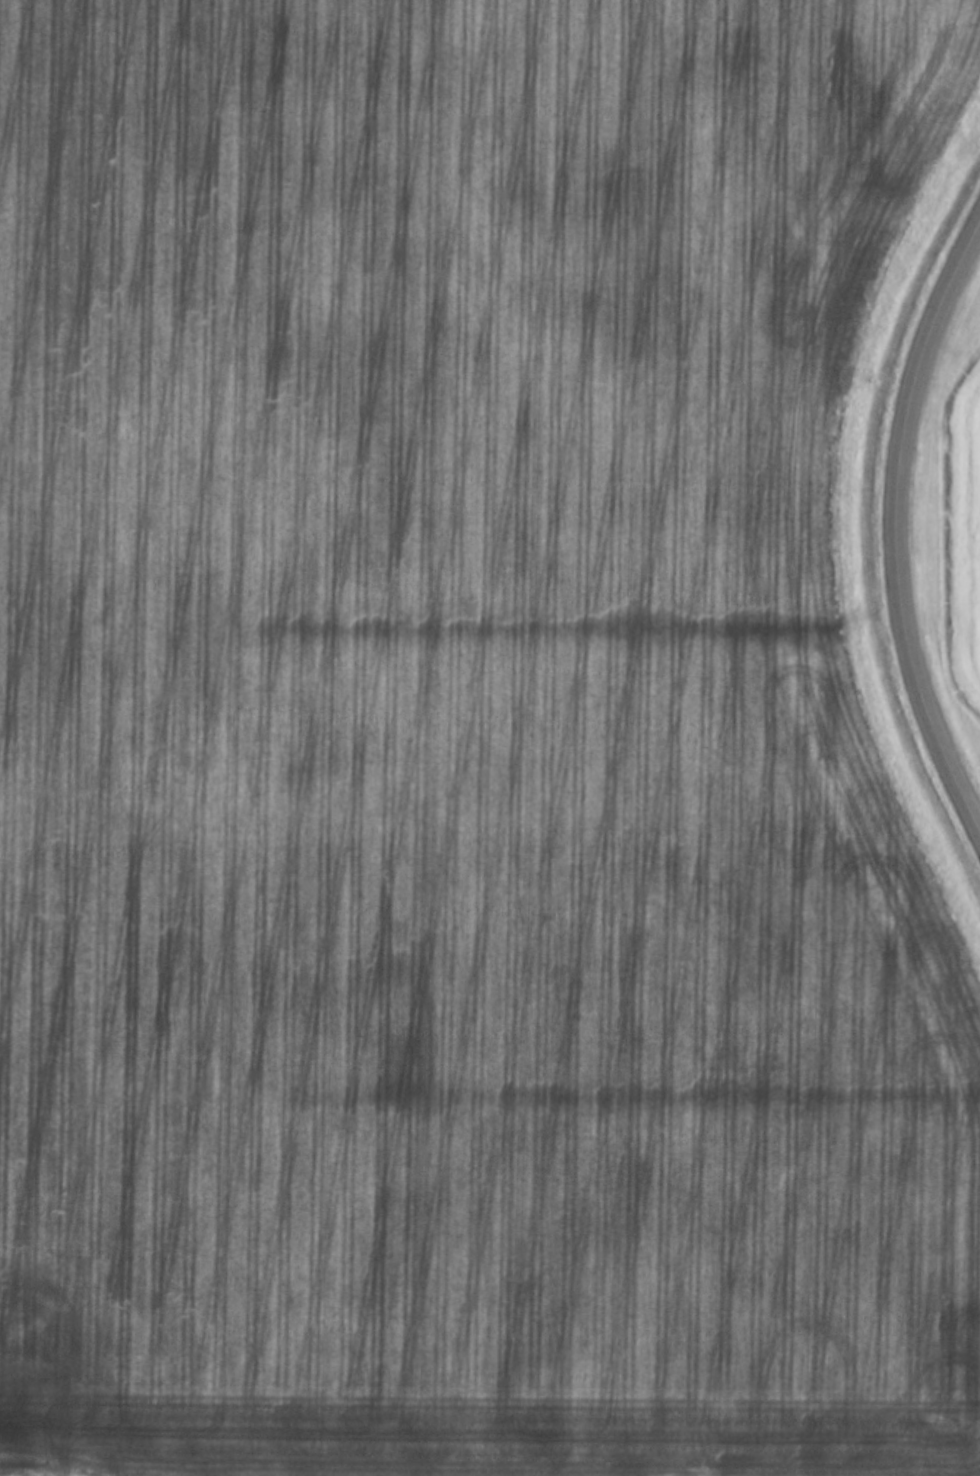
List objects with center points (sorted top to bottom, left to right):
road: (894, 526)

